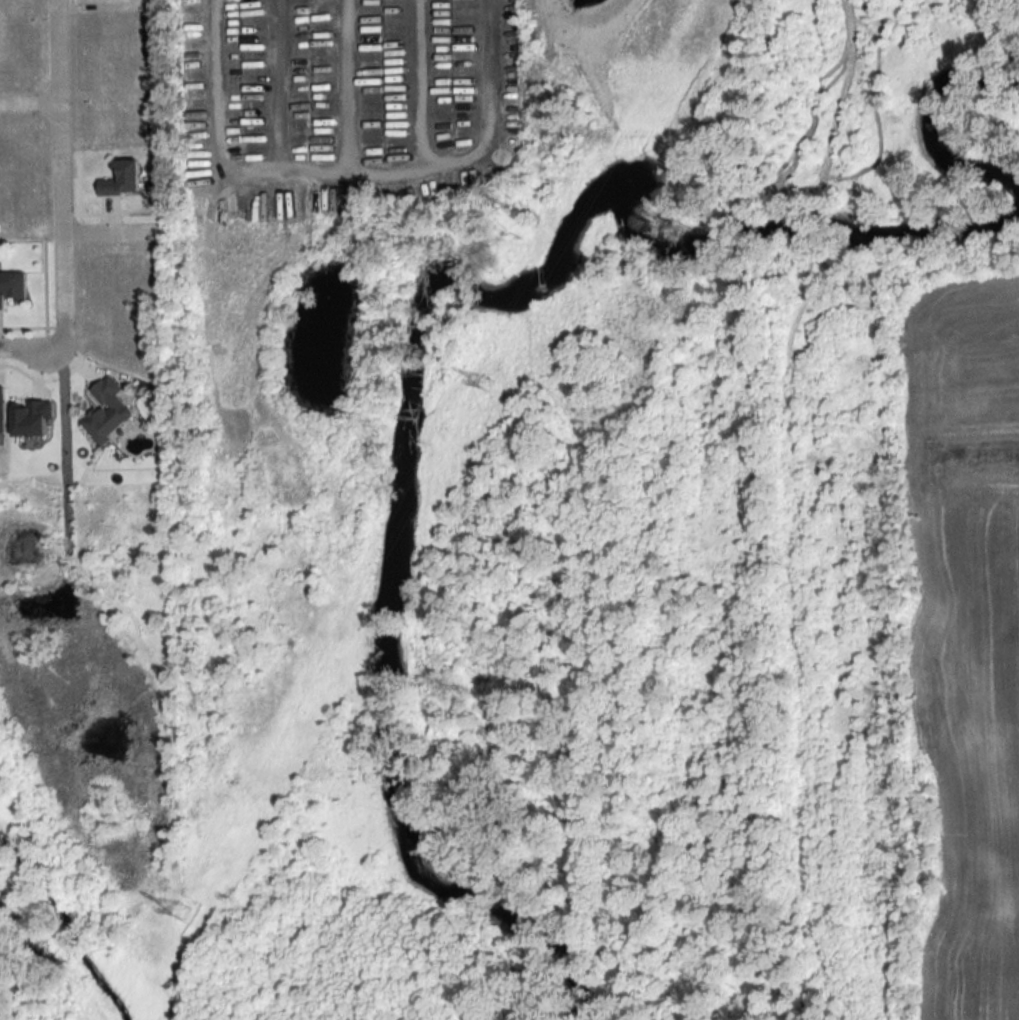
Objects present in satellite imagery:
road: (30, 103)
river: (930, 127)
road: (61, 175)
building: (123, 180)
road: (111, 233)
building: (12, 286)
river: (410, 339)
road: (24, 346)
power tower: (494, 385)
building: (108, 411)
power tower: (182, 915)

